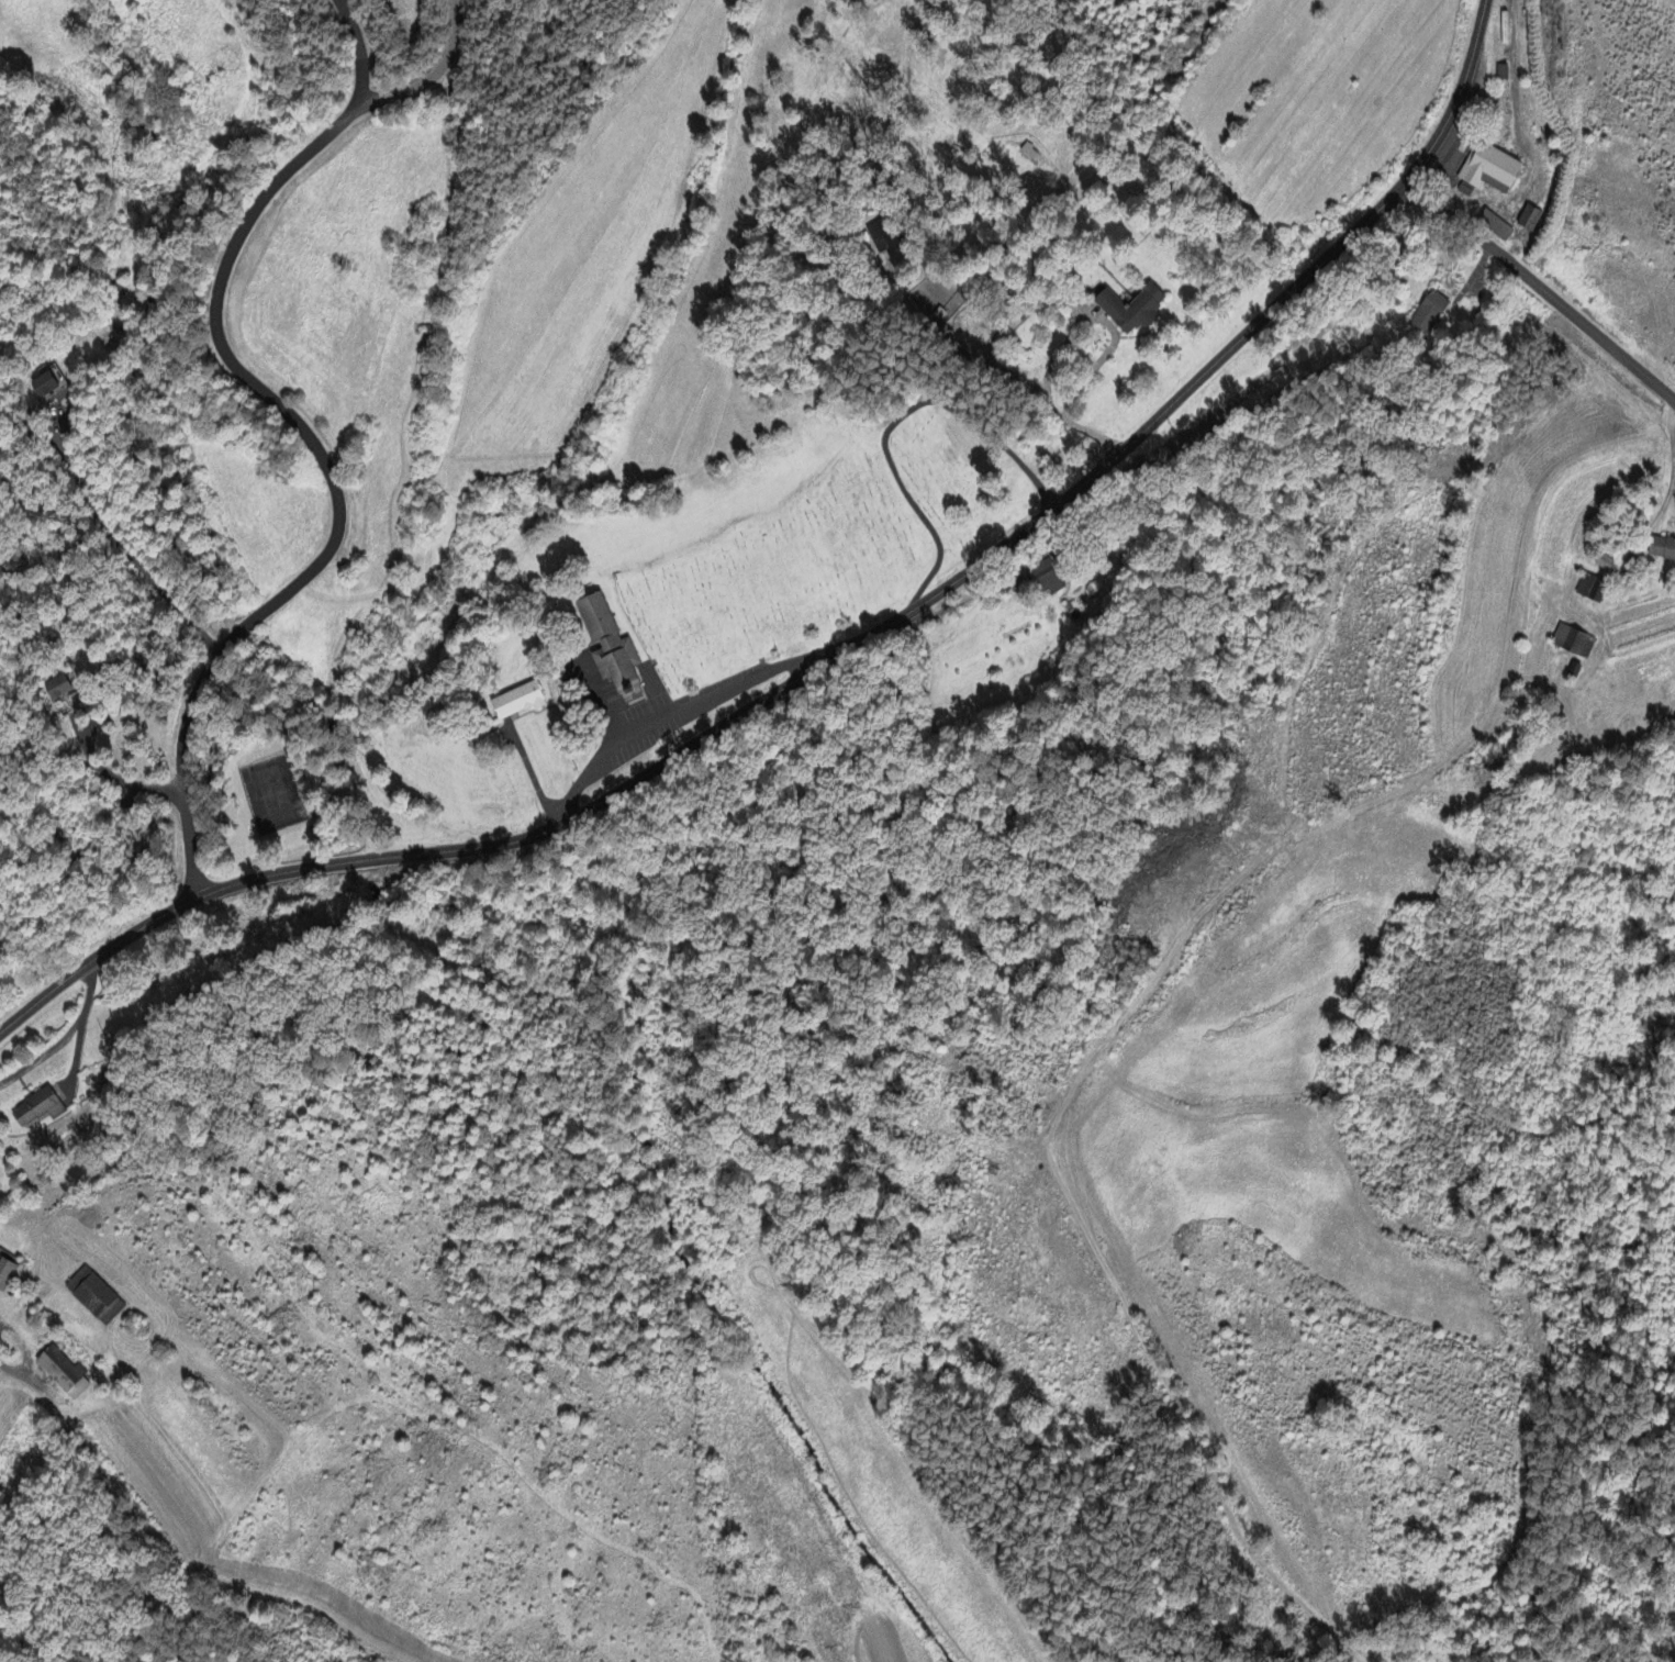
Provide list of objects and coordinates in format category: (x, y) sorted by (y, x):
road: (432, 74)
building: (1028, 153)
building: (1487, 171)
building: (1495, 227)
building: (880, 236)
road: (1539, 298)
building: (1130, 310)
building: (1427, 314)
road: (1114, 338)
building: (44, 387)
road: (893, 423)
road: (302, 442)
road: (129, 538)
park: (829, 544)
building: (1662, 550)
building: (1603, 565)
building: (1047, 579)
building: (1573, 643)
building: (610, 648)
road: (837, 652)
building: (587, 680)
building: (58, 689)
building: (516, 702)
road: (669, 713)
road: (532, 779)
building: (37, 1109)
building: (5, 1273)
building: (94, 1300)
building: (62, 1373)
road: (129, 1538)

